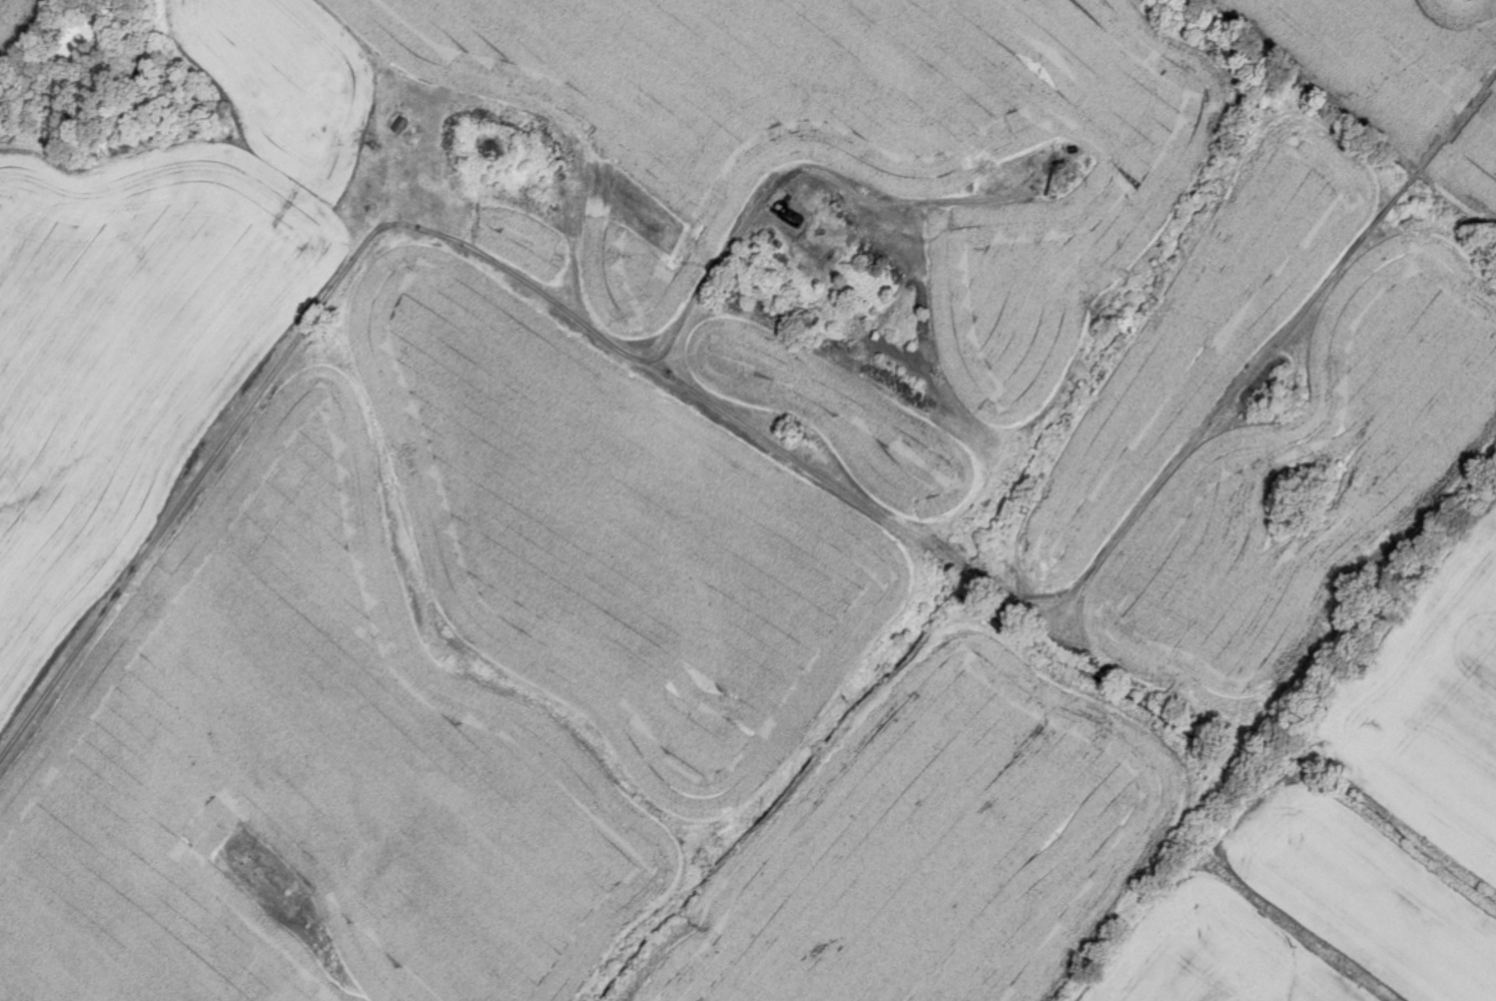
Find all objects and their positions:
road: (758, 198)
road: (777, 457)

